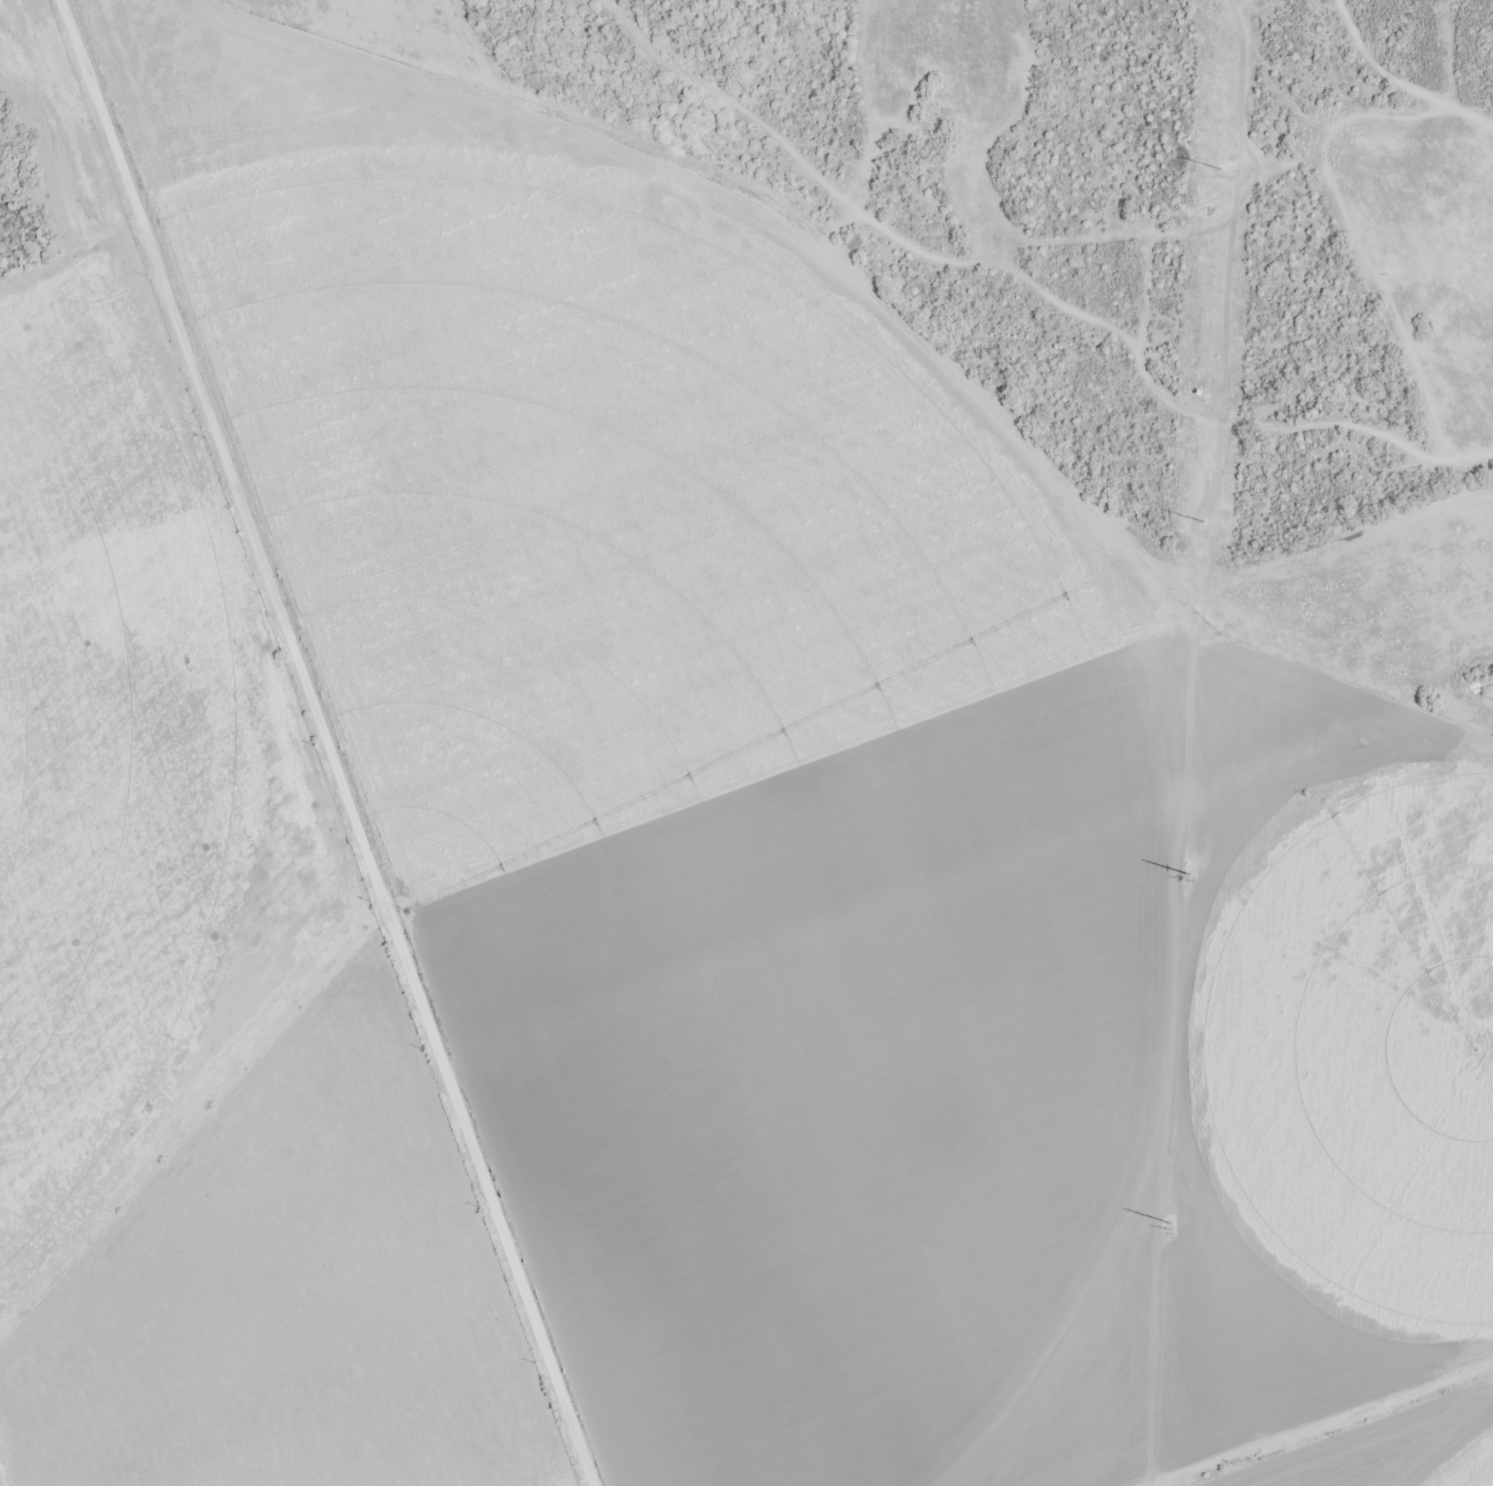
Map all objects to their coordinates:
power tower: (1221, 174)
power tower: (1201, 527)
road: (335, 742)
power tower: (1185, 880)
power tower: (1169, 1229)

